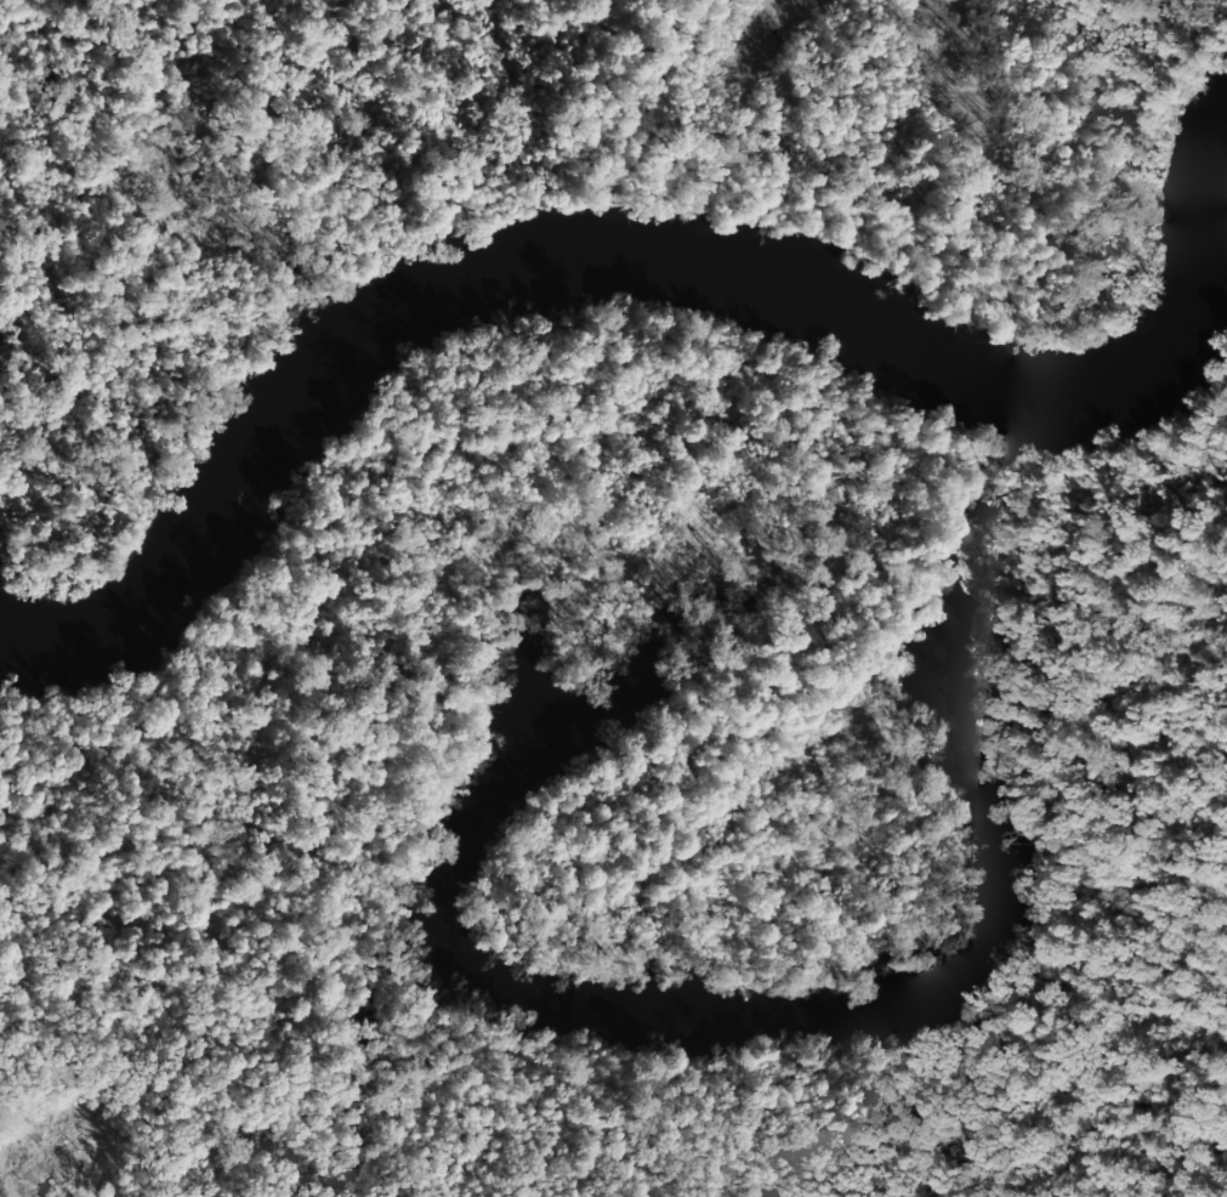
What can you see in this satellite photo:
river: (654, 255)

